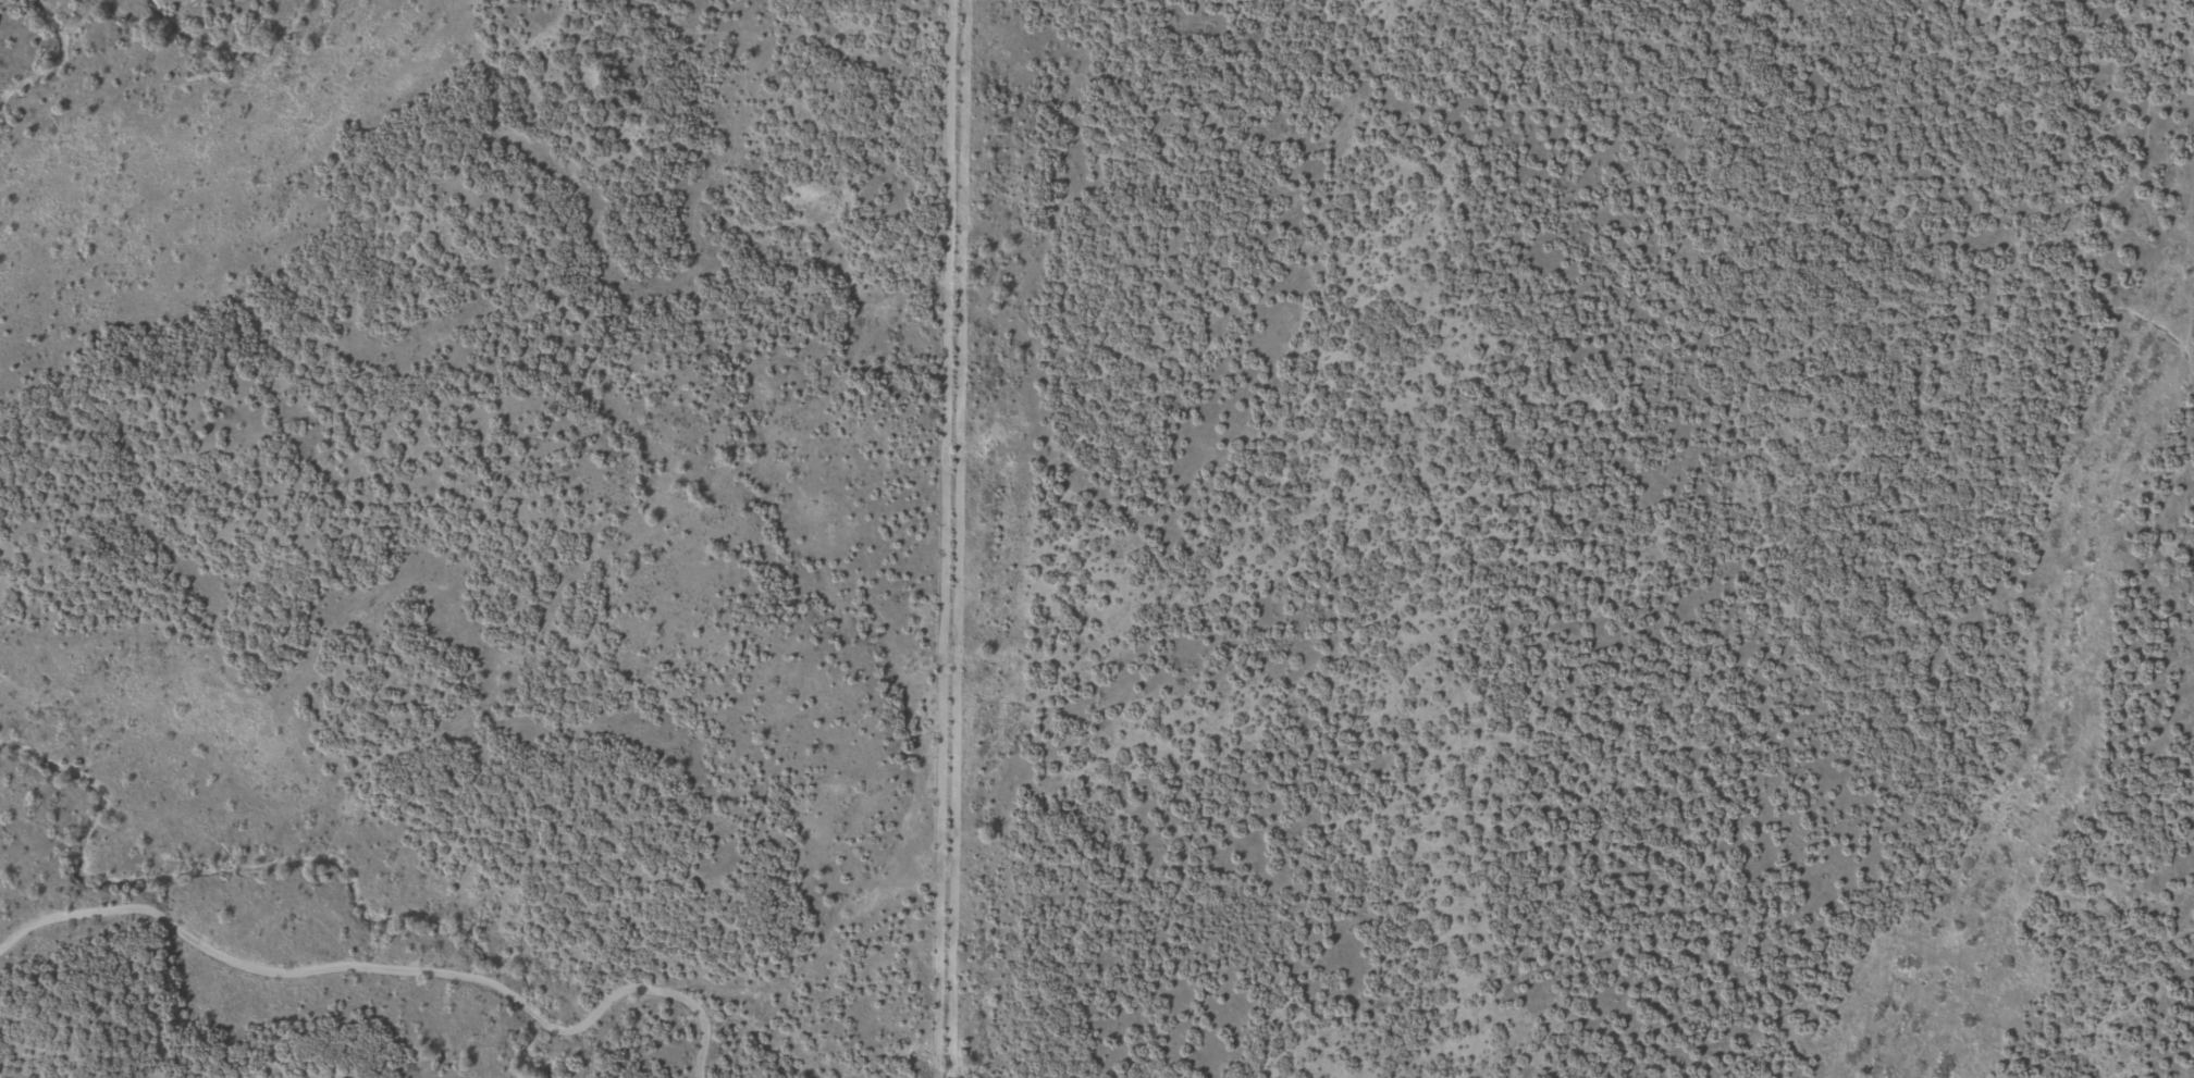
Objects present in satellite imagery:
road: (347, 969)

